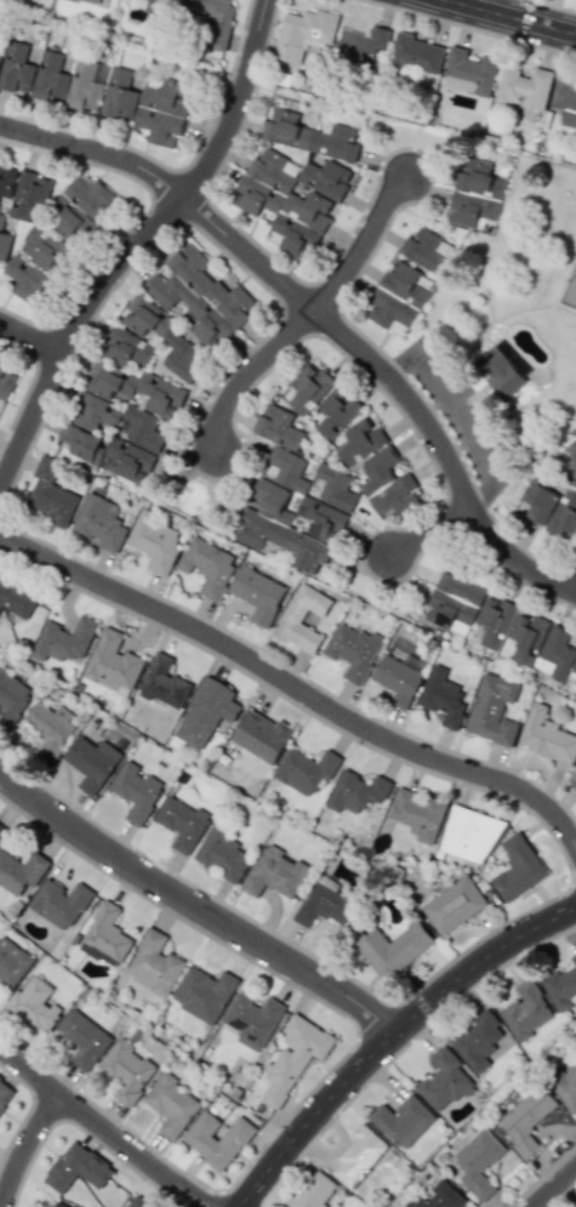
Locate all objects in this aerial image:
building: (89, 1)
road: (553, 5)
building: (158, 6)
road: (509, 17)
building: (213, 18)
building: (303, 34)
building: (361, 47)
building: (416, 56)
building: (0, 58)
building: (16, 68)
building: (468, 72)
building: (49, 78)
building: (84, 87)
building: (523, 87)
building: (119, 95)
building: (565, 101)
building: (162, 112)
building: (310, 136)
road: (96, 150)
building: (326, 178)
building: (7, 181)
building: (475, 194)
building: (29, 197)
building: (283, 204)
building: (80, 207)
building: (4, 240)
road: (141, 243)
building: (44, 250)
building: (424, 250)
building: (24, 280)
park: (570, 287)
building: (201, 297)
building: (397, 298)
road: (310, 314)
road: (30, 337)
building: (162, 337)
building: (126, 348)
road: (403, 361)
building: (501, 372)
building: (6, 381)
road: (398, 381)
building: (136, 388)
building: (307, 388)
road: (434, 406)
building: (336, 411)
building: (118, 420)
road: (456, 420)
building: (278, 427)
building: (360, 442)
road: (458, 446)
building: (107, 452)
building: (571, 459)
building: (289, 468)
building: (387, 483)
building: (335, 488)
building: (50, 494)
building: (538, 501)
building: (564, 514)
building: (321, 519)
building: (99, 522)
building: (280, 528)
road: (433, 531)
building: (155, 541)
building: (207, 565)
building: (257, 594)
building: (16, 599)
building: (454, 603)
building: (290, 620)
building: (495, 621)
building: (525, 638)
building: (64, 640)
building: (353, 651)
building: (555, 653)
building: (112, 662)
building: (572, 670)
building: (398, 681)
building: (162, 682)
road: (292, 684)
building: (575, 689)
building: (12, 698)
building: (443, 698)
building: (494, 710)
building: (206, 712)
building: (50, 729)
building: (261, 735)
building: (546, 735)
building: (92, 762)
building: (304, 770)
building: (572, 782)
building: (136, 791)
building: (355, 792)
building: (575, 797)
building: (418, 814)
building: (182, 822)
building: (1, 830)
building: (469, 835)
building: (222, 853)
building: (518, 867)
building: (21, 871)
building: (274, 872)
building: (59, 903)
building: (321, 903)
building: (454, 905)
road: (195, 907)
building: (105, 936)
building: (394, 949)
building: (12, 962)
building: (154, 964)
building: (561, 986)
building: (204, 994)
building: (34, 1004)
building: (526, 1010)
building: (252, 1020)
road: (392, 1037)
building: (81, 1038)
building: (477, 1041)
building: (293, 1058)
building: (126, 1070)
building: (443, 1081)
building: (566, 1088)
building: (5, 1094)
building: (171, 1104)
building: (403, 1121)
building: (525, 1121)
road: (107, 1128)
building: (217, 1138)
road: (27, 1148)
building: (358, 1156)
building: (478, 1162)
building: (76, 1168)
road: (555, 1188)
building: (315, 1191)
building: (440, 1197)
building: (59, 1205)
building: (132, 1205)

